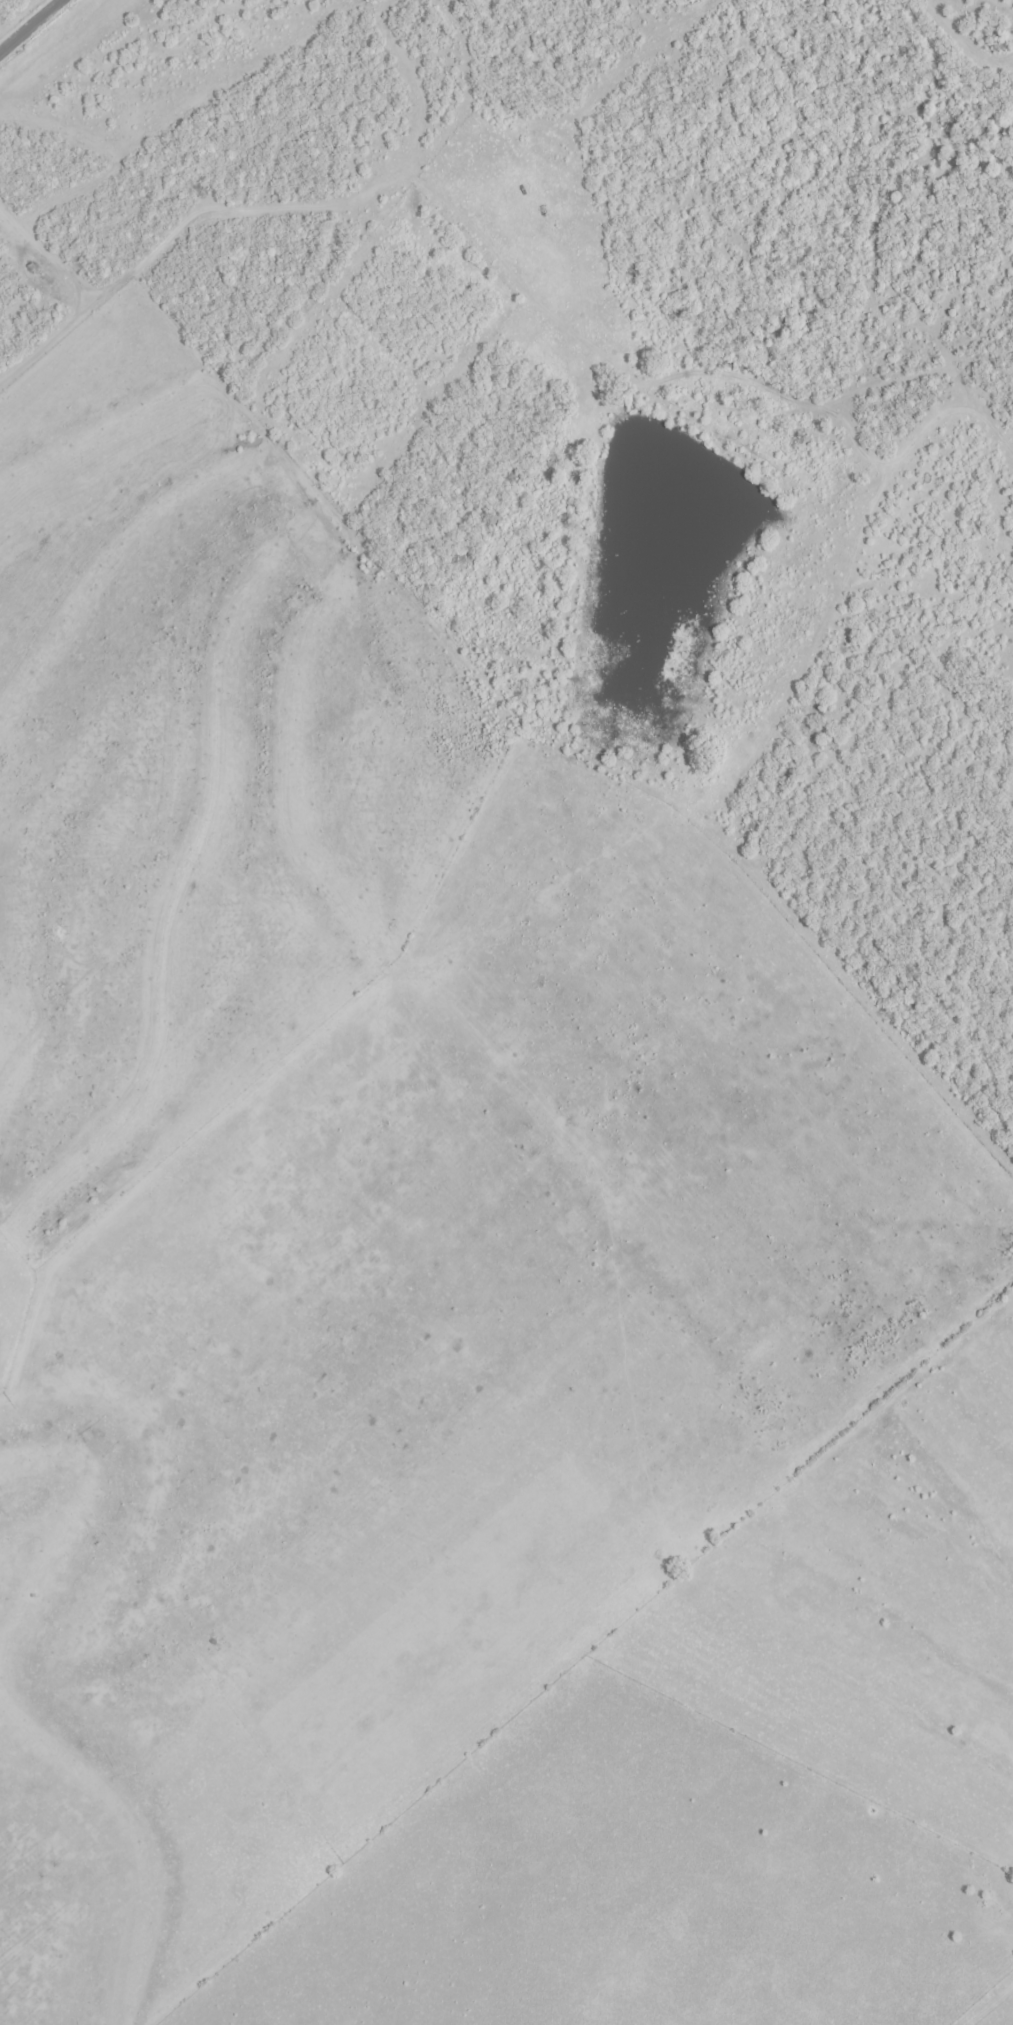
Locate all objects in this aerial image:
road: (46, 39)

